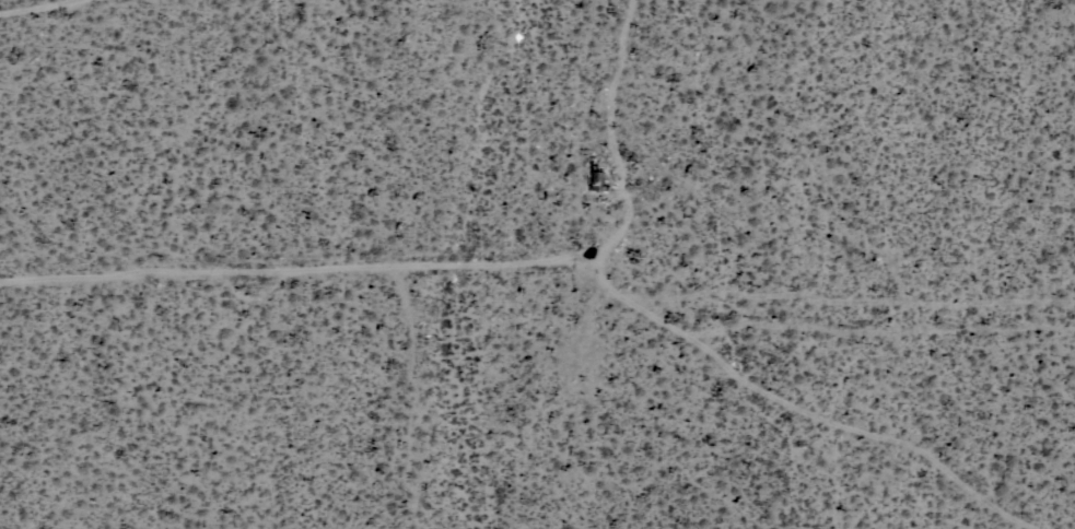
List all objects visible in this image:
road: (31, 3)
road: (560, 256)

